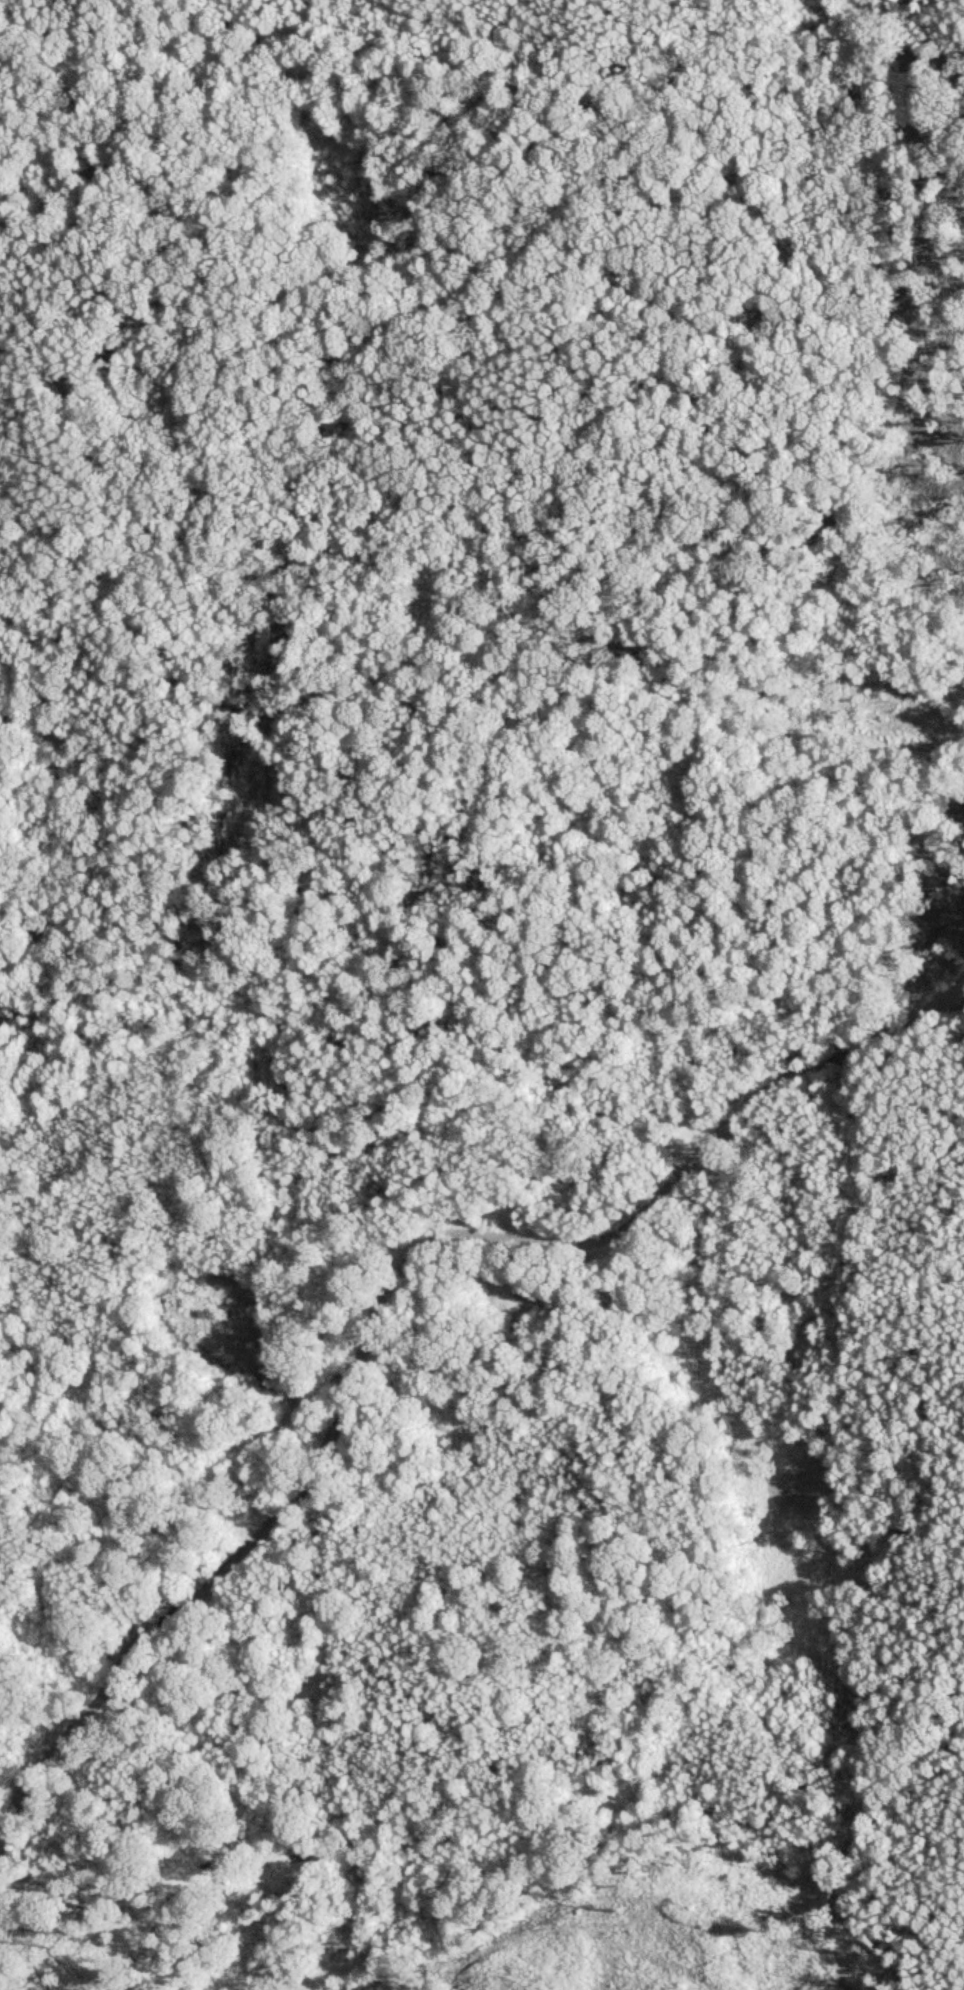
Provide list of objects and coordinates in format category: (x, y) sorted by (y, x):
road: (342, 849)
road: (390, 1298)

